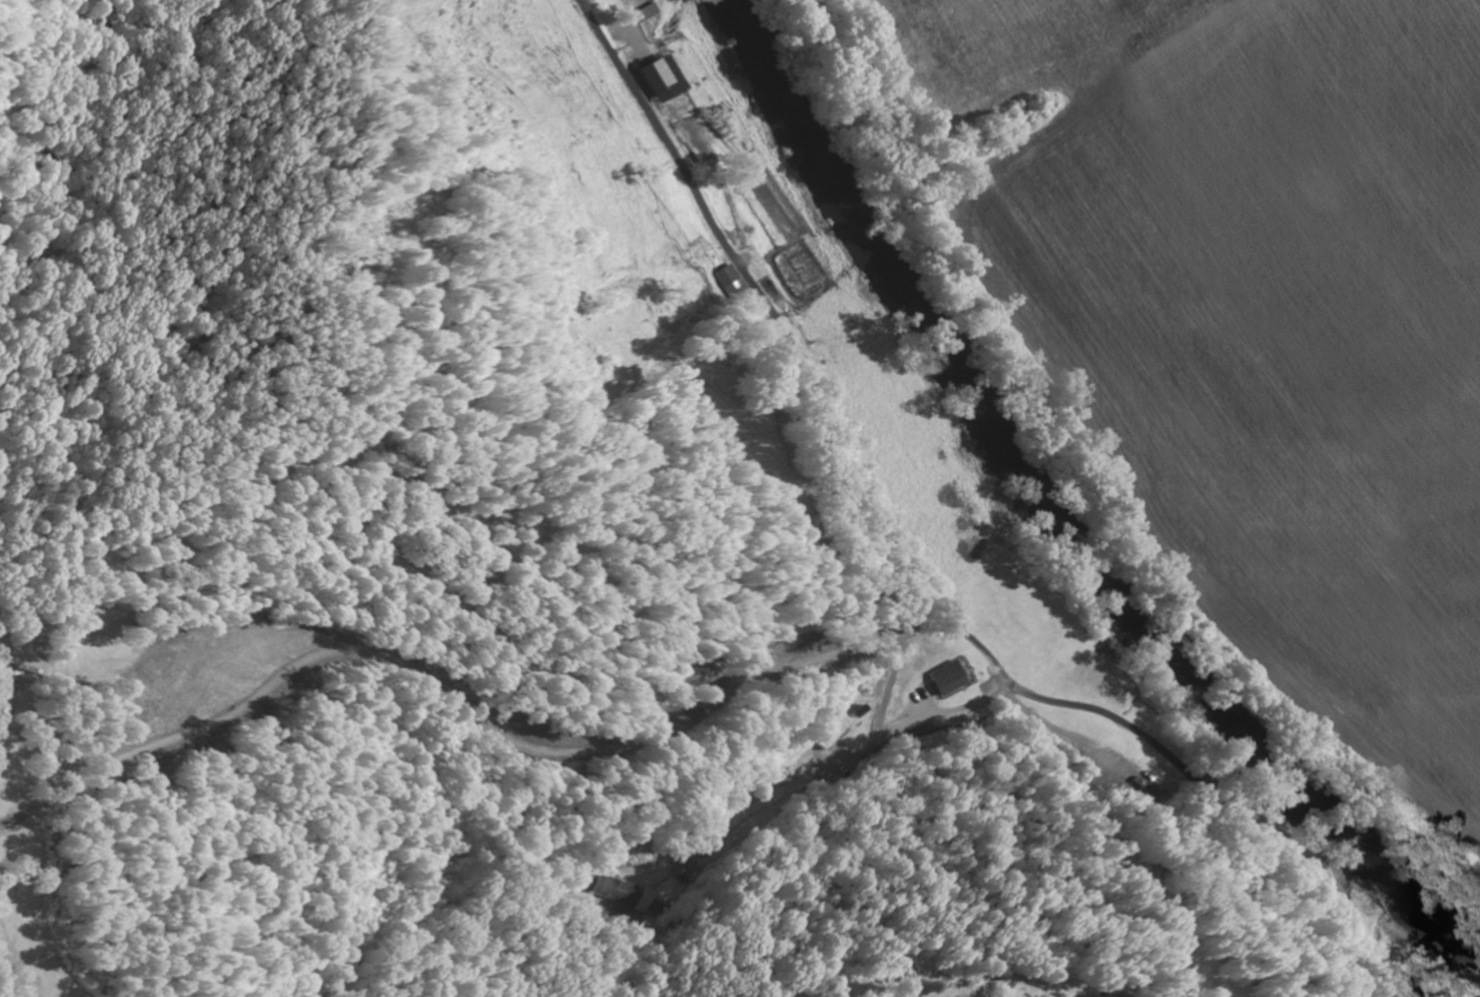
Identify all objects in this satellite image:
building: (659, 81)
building: (727, 286)
road: (619, 407)
river: (1054, 518)
road: (913, 569)
building: (944, 679)

